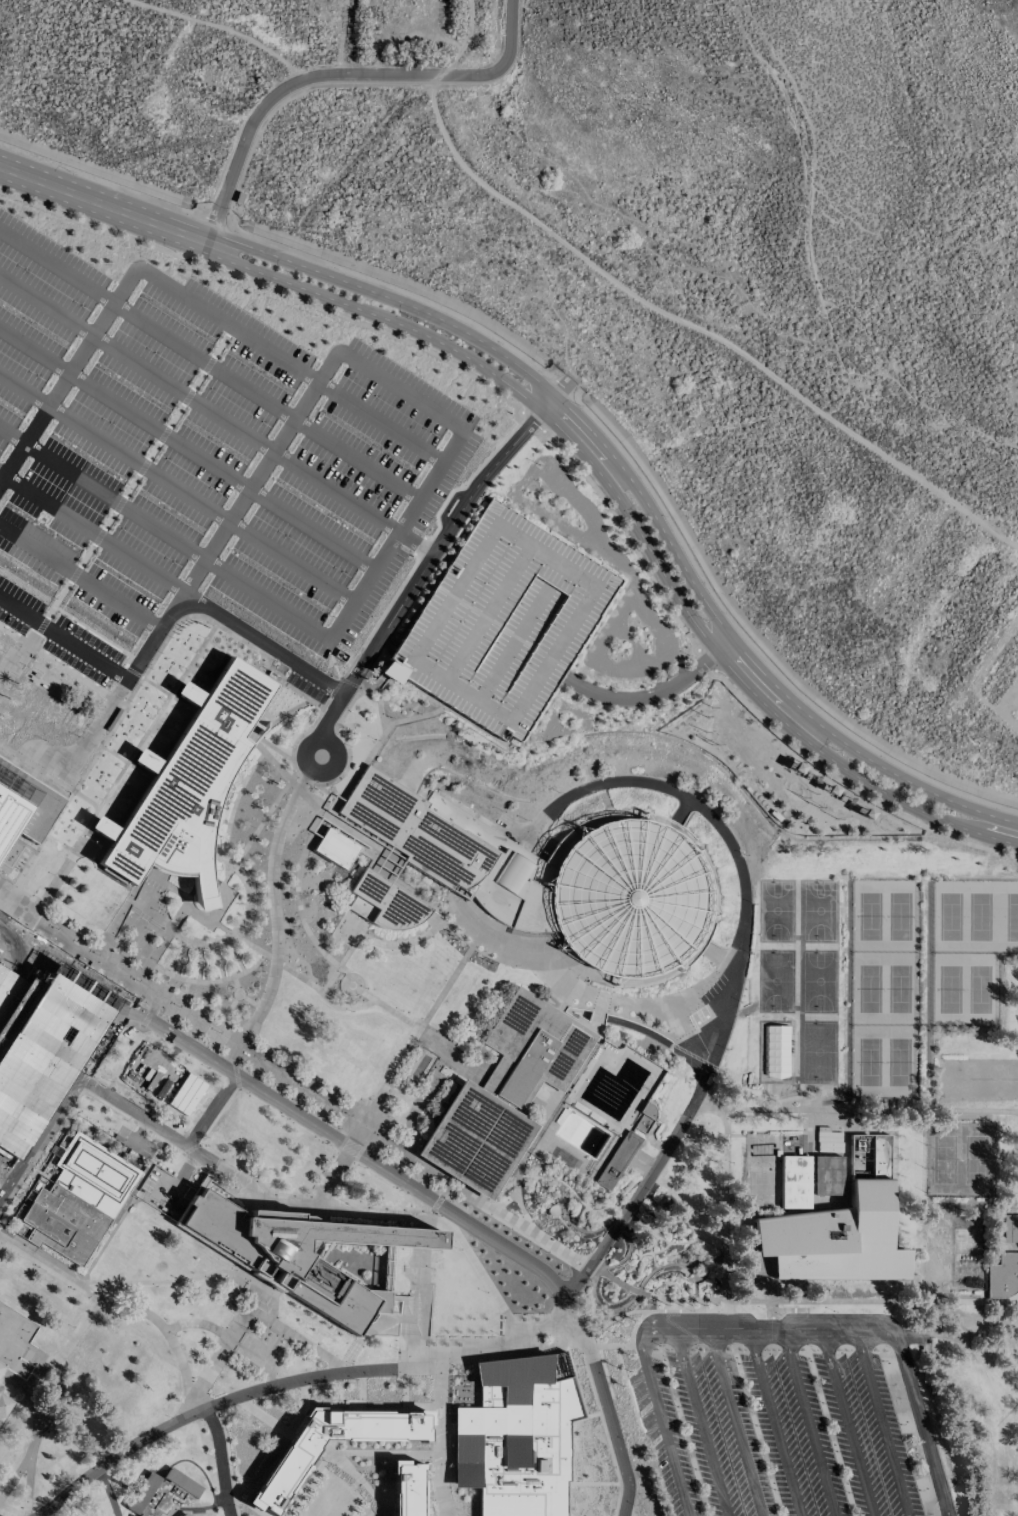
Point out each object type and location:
road: (225, 30)
road: (359, 74)
road: (104, 204)
road: (214, 223)
road: (57, 267)
road: (46, 306)
road: (663, 308)
road: (228, 323)
road: (412, 344)
road: (35, 350)
road: (203, 361)
road: (70, 372)
road: (24, 389)
road: (399, 390)
road: (183, 394)
road: (379, 422)
road: (159, 431)
road: (11, 435)
parking lot: (196, 460)
road: (356, 460)
road: (139, 463)
road: (260, 472)
road: (1, 473)
road: (127, 490)
road: (336, 492)
road: (641, 495)
road: (114, 501)
road: (632, 521)
road: (311, 530)
road: (92, 534)
road: (395, 535)
road: (415, 543)
street lamp: (506, 543)
road: (429, 557)
road: (292, 562)
street lamp: (538, 564)
road: (79, 577)
street lamp: (571, 585)
road: (267, 600)
road: (220, 617)
street lamp: (457, 621)
building: (503, 623)
parking lot: (503, 623)
road: (63, 640)
street lamp: (489, 642)
road: (388, 643)
road: (130, 655)
street lamp: (432, 660)
street lamp: (521, 662)
road: (67, 670)
street lamp: (465, 680)
road: (652, 694)
street lamp: (497, 701)
road: (101, 721)
building: (187, 784)
road: (846, 784)
road: (108, 789)
building: (24, 813)
building: (336, 848)
building: (450, 853)
building: (628, 899)
road: (273, 900)
road: (298, 900)
building: (388, 902)
road: (480, 929)
road: (386, 943)
park: (802, 969)
park: (921, 971)
road: (738, 973)
road: (321, 993)
road: (3, 1003)
road: (80, 1017)
road: (419, 1027)
road: (4, 1035)
road: (243, 1050)
building: (776, 1051)
building: (148, 1071)
road: (64, 1093)
building: (505, 1093)
road: (113, 1099)
road: (856, 1110)
road: (217, 1114)
building: (827, 1140)
road: (348, 1146)
park: (961, 1160)
building: (617, 1161)
road: (337, 1165)
road: (4, 1180)
building: (794, 1182)
road: (4, 1189)
building: (79, 1199)
road: (517, 1199)
road: (724, 1205)
road: (394, 1215)
building: (1010, 1228)
road: (537, 1236)
building: (832, 1238)
building: (295, 1253)
road: (418, 1266)
building: (1003, 1275)
road: (161, 1281)
road: (766, 1291)
road: (800, 1301)
road: (422, 1316)
road: (385, 1321)
road: (424, 1323)
road: (199, 1324)
road: (717, 1329)
road: (169, 1334)
road: (229, 1339)
road: (301, 1339)
road: (66, 1352)
road: (408, 1352)
building: (1, 1368)
road: (292, 1381)
road: (916, 1402)
building: (4, 1406)
road: (606, 1407)
road: (882, 1421)
road: (701, 1422)
road: (736, 1422)
road: (774, 1422)
road: (809, 1422)
road: (848, 1422)
road: (664, 1423)
parking lot: (777, 1435)
building: (517, 1436)
road: (73, 1437)
road: (437, 1441)
road: (352, 1451)
road: (228, 1459)
road: (220, 1461)
building: (283, 1472)
road: (29, 1485)
building: (406, 1488)
road: (107, 1492)
building: (162, 1494)
building: (185, 1515)

